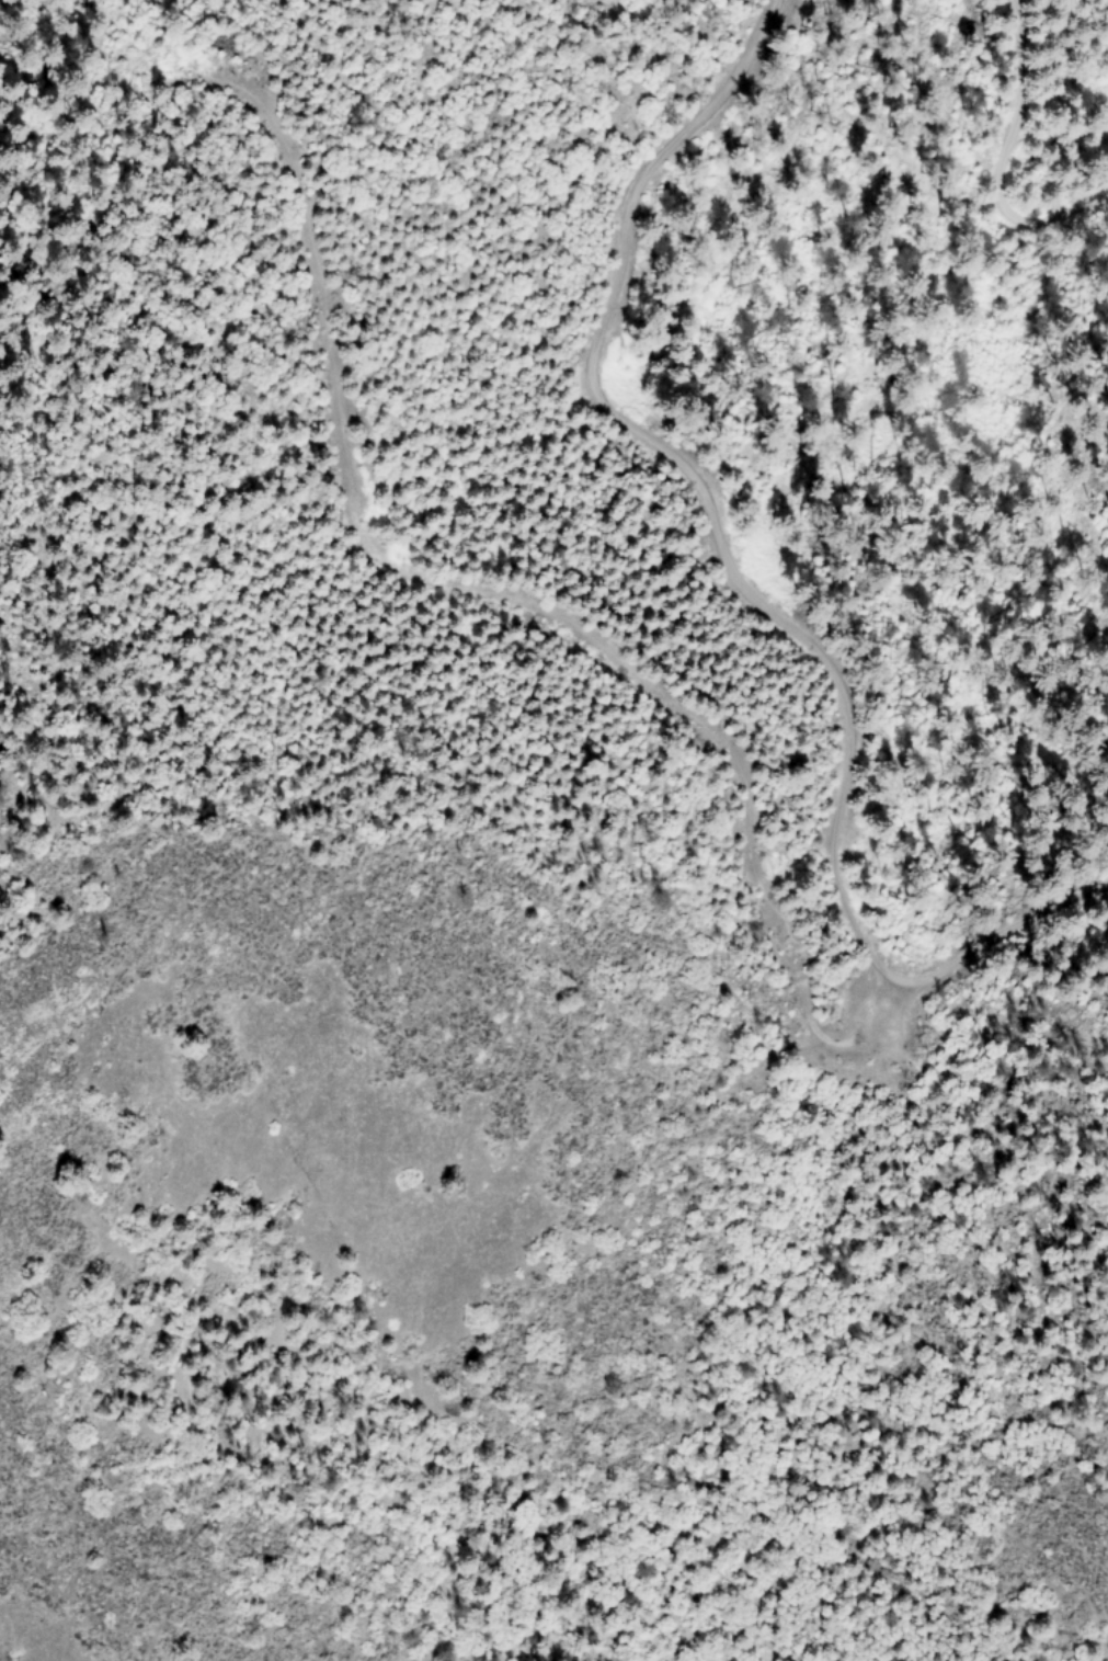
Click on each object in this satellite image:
road: (744, 588)
parking lot: (875, 1009)
road: (978, 1120)

